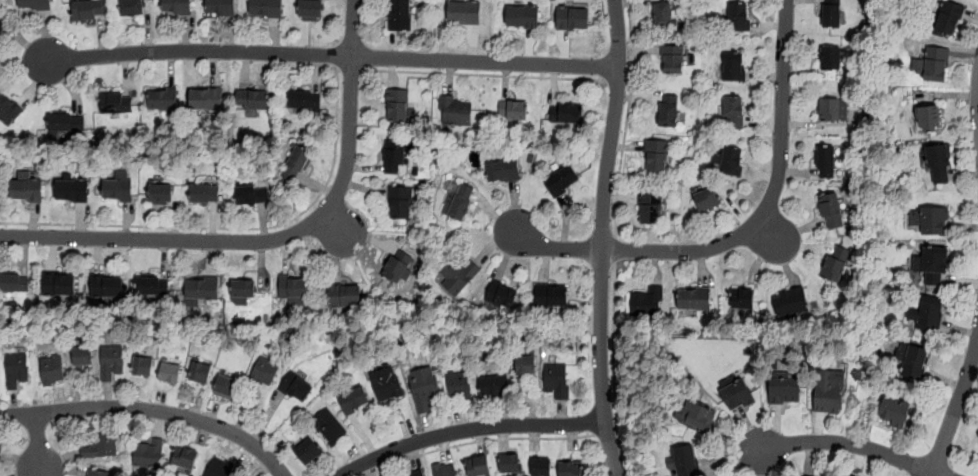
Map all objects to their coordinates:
building: (34, 4)
building: (132, 7)
building: (176, 7)
building: (220, 7)
building: (266, 8)
building: (87, 9)
building: (310, 10)
building: (464, 11)
building: (400, 14)
building: (663, 14)
building: (831, 14)
building: (523, 16)
building: (738, 16)
building: (573, 17)
building: (948, 17)
building: (2, 26)
road: (353, 28)
road: (632, 48)
road: (332, 56)
building: (830, 58)
building: (672, 59)
building: (936, 64)
building: (733, 65)
road: (349, 69)
road: (486, 74)
road: (618, 89)
building: (162, 98)
building: (206, 98)
building: (253, 99)
building: (303, 99)
building: (116, 101)
building: (397, 104)
building: (8, 108)
building: (829, 108)
building: (513, 109)
building: (455, 110)
building: (668, 110)
building: (565, 112)
building: (733, 112)
building: (479, 116)
building: (928, 118)
building: (65, 120)
building: (656, 155)
building: (394, 157)
building: (730, 160)
building: (825, 161)
building: (295, 163)
building: (938, 163)
road: (619, 166)
building: (502, 170)
building: (561, 180)
building: (117, 187)
building: (26, 188)
building: (72, 190)
building: (204, 193)
building: (252, 193)
building: (160, 194)
building: (707, 198)
building: (460, 201)
building: (400, 202)
building: (650, 207)
building: (831, 210)
building: (930, 219)
road: (232, 227)
road: (747, 234)
road: (603, 238)
road: (247, 241)
road: (615, 250)
building: (835, 262)
building: (398, 265)
building: (932, 265)
building: (457, 275)
building: (14, 282)
building: (59, 283)
building: (149, 283)
building: (106, 284)
building: (202, 287)
building: (293, 289)
building: (243, 291)
building: (501, 294)
building: (552, 295)
building: (344, 296)
building: (694, 298)
building: (743, 298)
building: (647, 301)
building: (791, 301)
building: (927, 310)
building: (83, 355)
building: (912, 359)
building: (111, 361)
building: (525, 364)
building: (143, 365)
building: (16, 369)
building: (52, 370)
building: (265, 370)
road: (613, 370)
building: (170, 372)
building: (200, 372)
building: (556, 379)
building: (387, 384)
building: (458, 384)
building: (494, 385)
building: (225, 386)
building: (297, 387)
building: (424, 388)
building: (786, 392)
building: (826, 392)
building: (736, 395)
building: (354, 399)
road: (151, 409)
road: (956, 410)
building: (893, 412)
building: (698, 418)
road: (964, 422)
building: (329, 427)
road: (470, 429)
road: (609, 433)
building: (977, 436)
road: (479, 440)
road: (38, 443)
road: (850, 444)
building: (100, 446)
building: (307, 451)
building: (148, 453)
building: (184, 457)
building: (686, 461)
building: (509, 462)
building: (478, 465)
building: (541, 466)
building: (219, 467)
building: (570, 468)
building: (444, 469)
road: (948, 470)
building: (98, 472)
building: (415, 473)
building: (847, 475)

